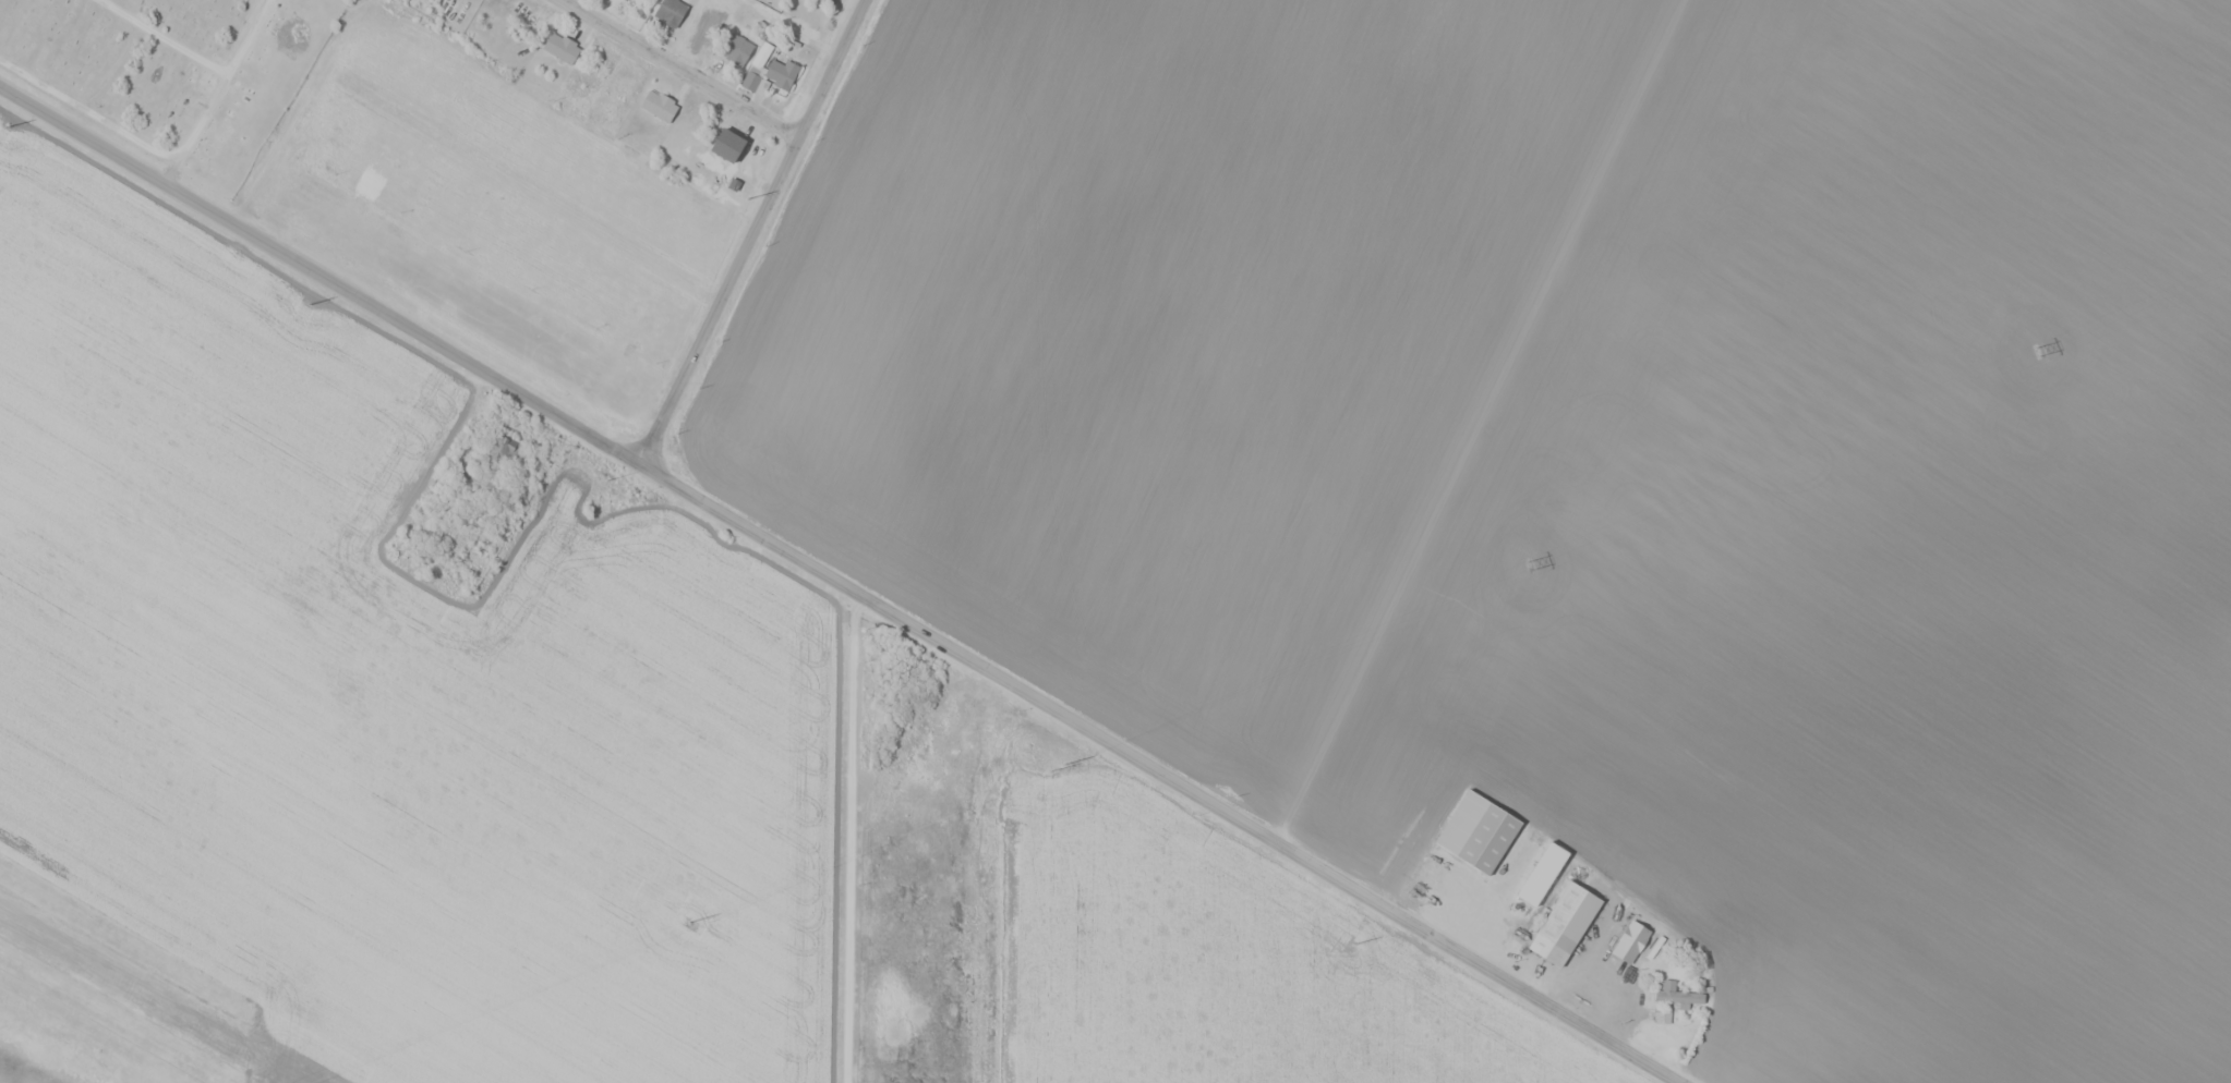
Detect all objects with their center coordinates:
building: (671, 12)
road: (164, 35)
road: (246, 35)
building: (560, 47)
building: (735, 49)
road: (691, 68)
park: (171, 70)
building: (781, 73)
building: (750, 81)
building: (659, 105)
power tower: (9, 125)
road: (126, 132)
building: (727, 145)
road: (534, 188)
power tower: (747, 199)
road: (755, 232)
road: (321, 281)
power tower: (311, 304)
power tower: (2036, 351)
building: (501, 448)
power tower: (606, 480)
building: (481, 483)
road: (747, 526)
power tower: (1529, 567)
power tower: (1062, 765)
power tower: (1048, 771)
building: (1478, 830)
road: (849, 832)
road: (1266, 832)
building: (1529, 886)
power tower: (688, 922)
building: (1565, 922)
power tower: (1352, 945)
building: (1674, 1000)

